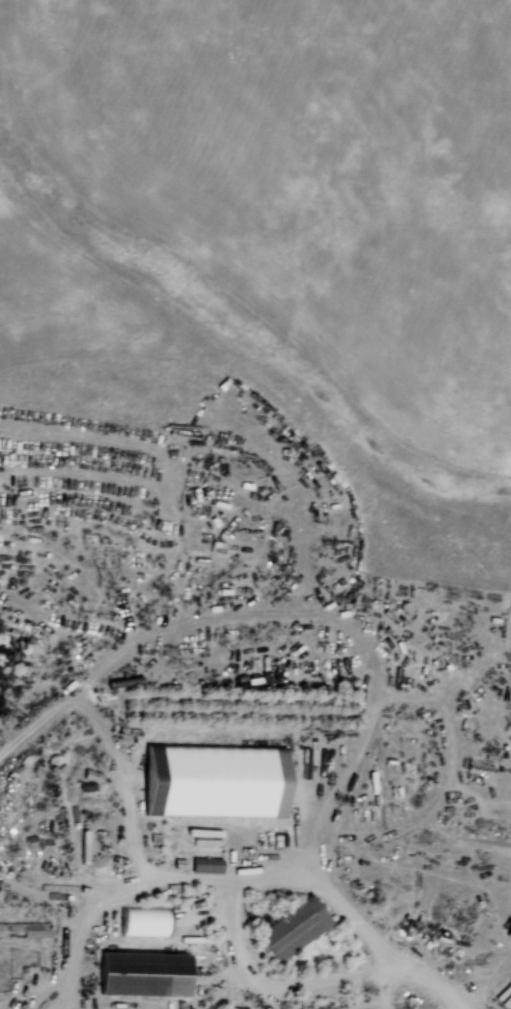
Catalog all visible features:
building: (218, 779)
building: (145, 920)
building: (295, 926)
building: (25, 929)
road: (388, 947)
building: (148, 972)

